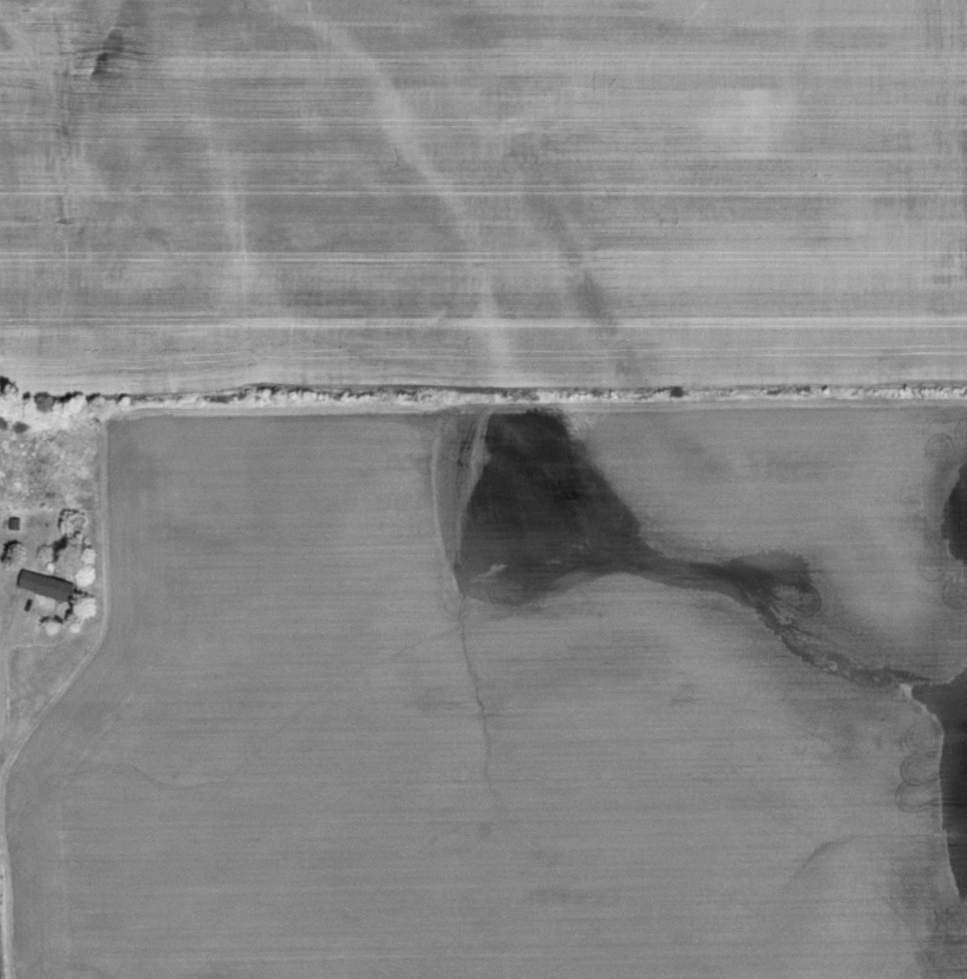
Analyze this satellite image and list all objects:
building: (44, 585)
road: (8, 626)

